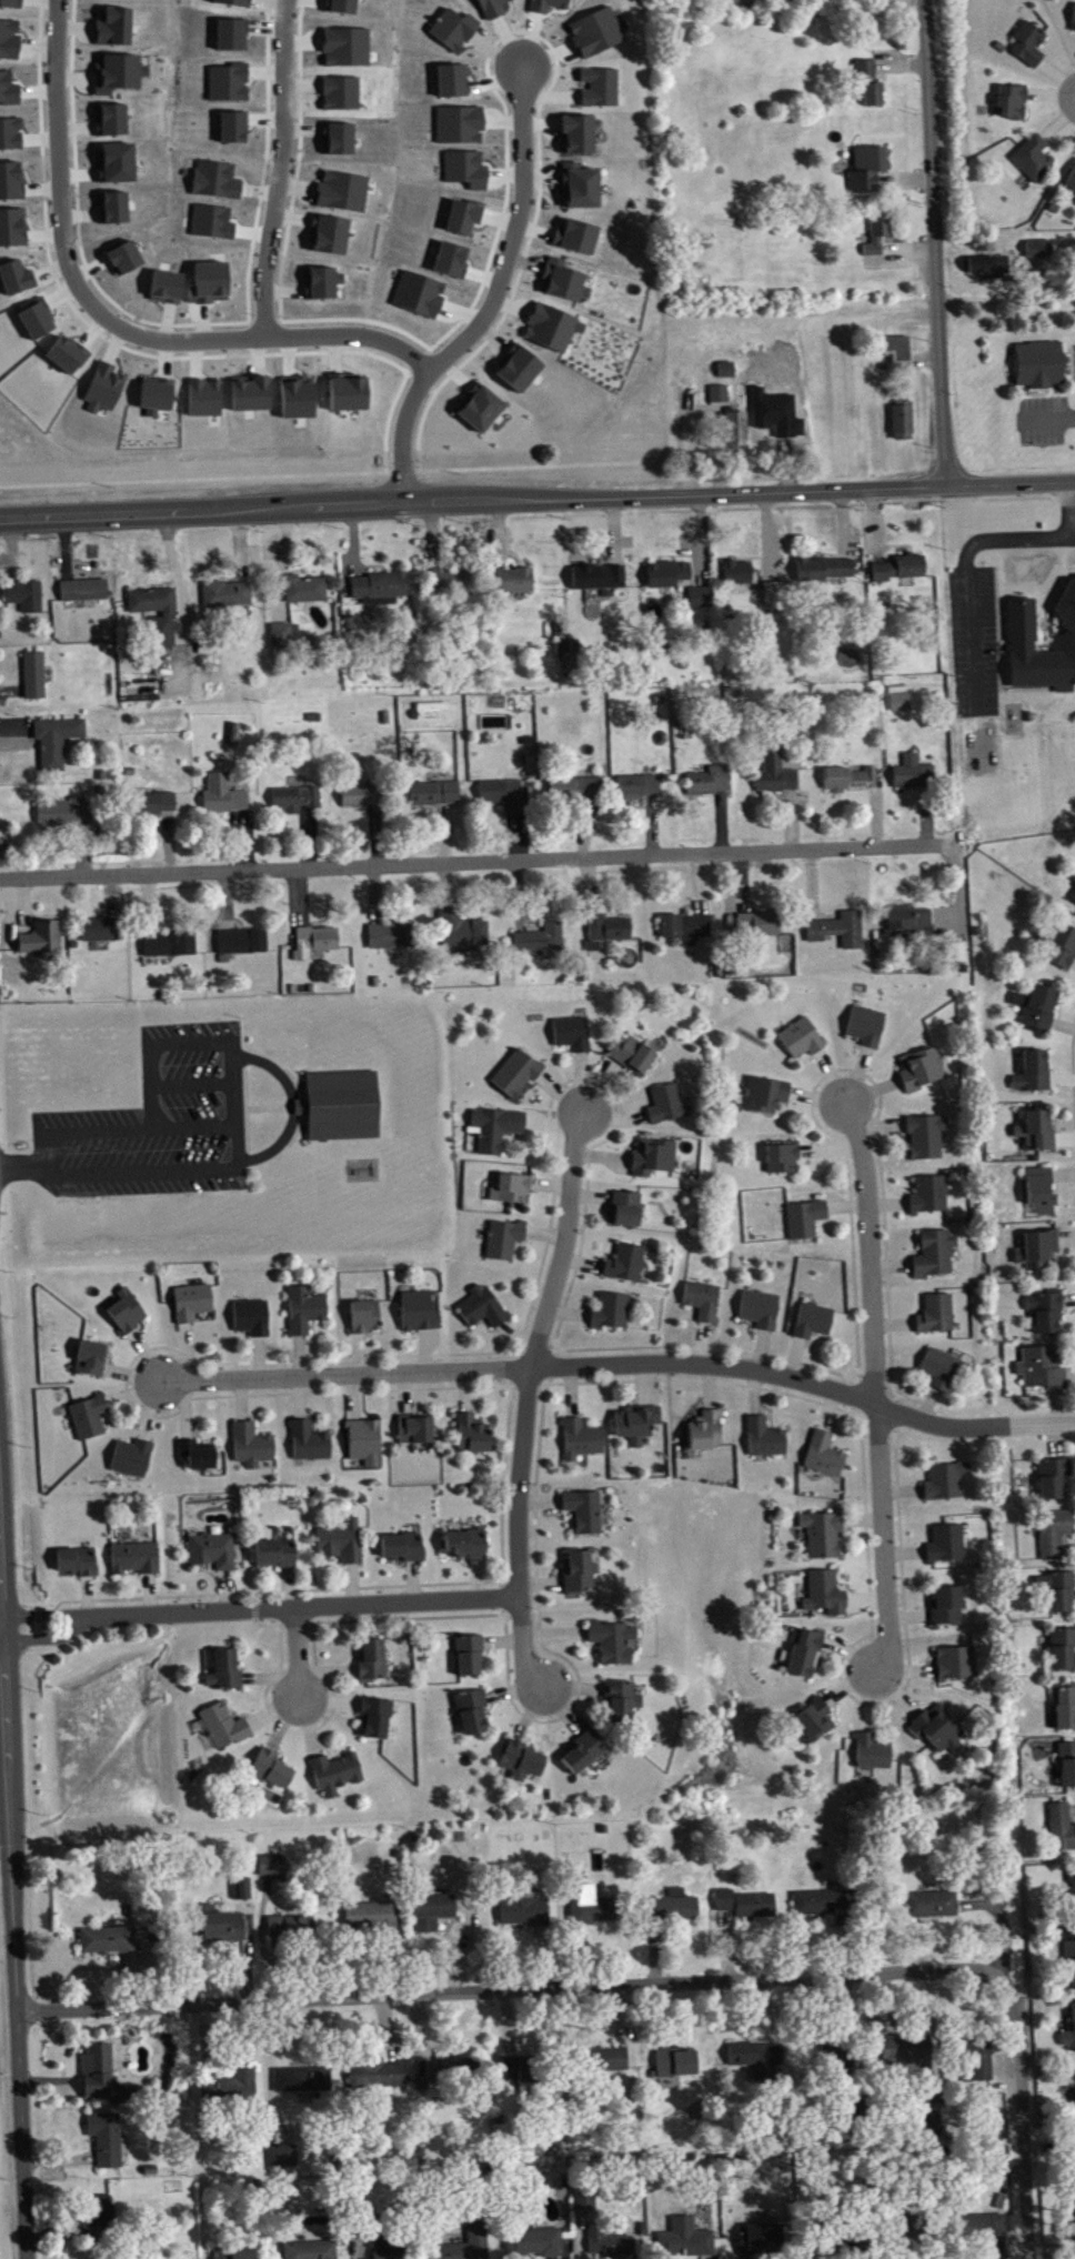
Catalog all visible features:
building: (12, 4)
building: (551, 7)
building: (495, 9)
building: (1074, 28)
building: (117, 29)
building: (456, 31)
building: (599, 34)
building: (10, 41)
building: (1031, 46)
road: (903, 59)
building: (120, 74)
building: (867, 79)
building: (455, 83)
building: (602, 89)
building: (1014, 104)
building: (462, 127)
building: (580, 137)
building: (1036, 160)
building: (865, 165)
road: (284, 168)
building: (469, 171)
road: (904, 177)
building: (12, 182)
building: (1072, 183)
building: (583, 189)
building: (466, 220)
building: (876, 230)
building: (332, 237)
building: (579, 239)
road: (934, 242)
building: (1037, 245)
road: (901, 258)
building: (127, 260)
building: (987, 263)
building: (18, 280)
building: (566, 283)
building: (212, 285)
building: (324, 285)
building: (422, 297)
road: (491, 299)
road: (998, 300)
road: (108, 317)
building: (39, 321)
building: (555, 330)
building: (896, 345)
road: (1067, 349)
parking lot: (1074, 353)
building: (69, 358)
building: (1038, 361)
road: (1071, 361)
building: (521, 371)
road: (1052, 385)
building: (107, 391)
road: (1043, 393)
building: (351, 394)
building: (253, 396)
building: (722, 396)
building: (158, 399)
building: (208, 400)
building: (300, 401)
building: (482, 410)
building: (900, 416)
parking lot: (1043, 418)
road: (1049, 418)
road: (320, 472)
road: (537, 499)
road: (1069, 508)
road: (1007, 536)
building: (902, 571)
building: (827, 572)
building: (670, 575)
building: (740, 575)
building: (453, 580)
building: (597, 580)
building: (518, 582)
building: (308, 591)
building: (383, 591)
building: (87, 592)
building: (230, 596)
building: (28, 598)
building: (703, 600)
building: (159, 615)
building: (1018, 635)
building: (283, 637)
parking lot: (972, 639)
road: (968, 640)
building: (37, 677)
building: (902, 701)
building: (59, 743)
building: (915, 775)
building: (778, 777)
building: (852, 781)
building: (712, 783)
building: (641, 789)
building: (438, 795)
building: (505, 796)
building: (225, 797)
building: (363, 799)
building: (298, 801)
building: (158, 805)
building: (64, 815)
road: (480, 863)
building: (1074, 881)
road: (961, 886)
building: (1074, 900)
building: (912, 922)
building: (761, 925)
building: (607, 927)
building: (689, 930)
building: (102, 932)
building: (463, 932)
building: (841, 932)
building: (392, 938)
building: (44, 941)
building: (543, 941)
building: (318, 943)
building: (244, 944)
building: (171, 946)
building: (1063, 948)
building: (1039, 1010)
building: (868, 1028)
building: (574, 1036)
road: (148, 1041)
building: (803, 1041)
building: (635, 1057)
building: (923, 1071)
building: (1035, 1074)
road: (244, 1085)
building: (767, 1096)
building: (338, 1103)
road: (151, 1106)
road: (245, 1106)
road: (290, 1106)
building: (670, 1107)
parking lot: (157, 1122)
road: (122, 1128)
building: (499, 1131)
building: (1038, 1134)
building: (928, 1138)
building: (656, 1159)
building: (785, 1161)
road: (153, 1171)
building: (514, 1192)
building: (1043, 1194)
building: (932, 1197)
building: (627, 1212)
building: (807, 1222)
building: (506, 1242)
building: (1041, 1252)
building: (937, 1256)
building: (627, 1265)
building: (705, 1303)
building: (194, 1304)
building: (484, 1309)
building: (762, 1312)
building: (307, 1313)
building: (129, 1314)
building: (421, 1314)
building: (613, 1314)
building: (1047, 1314)
building: (938, 1316)
building: (368, 1319)
building: (254, 1321)
building: (815, 1323)
building: (94, 1361)
road: (624, 1365)
building: (943, 1371)
building: (1044, 1371)
road: (878, 1388)
road: (529, 1400)
building: (91, 1419)
building: (639, 1426)
building: (418, 1432)
building: (474, 1437)
building: (767, 1440)
building: (584, 1442)
building: (311, 1445)
building: (368, 1445)
building: (253, 1447)
building: (826, 1457)
building: (200, 1458)
building: (134, 1460)
building: (1055, 1479)
building: (947, 1483)
building: (586, 1514)
building: (825, 1536)
building: (1056, 1536)
building: (344, 1544)
building: (468, 1546)
building: (948, 1546)
building: (406, 1549)
building: (215, 1553)
building: (278, 1556)
building: (137, 1560)
building: (79, 1564)
building: (582, 1575)
building: (1062, 1594)
building: (827, 1596)
building: (948, 1608)
road: (262, 1609)
building: (615, 1644)
building: (1064, 1650)
road: (302, 1651)
building: (806, 1656)
building: (471, 1658)
building: (374, 1664)
building: (958, 1666)
building: (227, 1674)
building: (622, 1704)
building: (1066, 1709)
building: (474, 1714)
building: (379, 1721)
building: (813, 1726)
building: (224, 1729)
building: (941, 1731)
building: (586, 1755)
building: (874, 1755)
building: (523, 1764)
building: (1068, 1767)
building: (273, 1771)
building: (338, 1776)
building: (1063, 1829)
building: (274, 1867)
building: (245, 1891)
building: (1073, 1894)
building: (726, 1902)
building: (825, 1905)
building: (933, 1907)
building: (757, 1908)
building: (593, 1909)
building: (675, 1909)
building: (435, 1915)
building: (374, 1918)
building: (221, 1927)
road: (14, 1942)
building: (109, 1942)
building: (1071, 1969)
road: (514, 1989)
building: (1069, 2037)
building: (907, 2051)
building: (761, 2060)
building: (609, 2062)
building: (978, 2064)
building: (677, 2066)
building: (455, 2071)
building: (514, 2071)
building: (384, 2076)
building: (106, 2078)
building: (305, 2082)
building: (1071, 2089)
building: (233, 2090)
building: (934, 2115)
road: (1023, 2118)
building: (110, 2142)
building: (1074, 2153)
building: (285, 2159)
building: (587, 2201)
building: (102, 2219)
building: (985, 2227)
building: (480, 2236)
building: (758, 2241)
building: (687, 2242)
building: (537, 2245)
building: (389, 2246)
building: (612, 2246)
building: (312, 2251)
building: (237, 2255)

